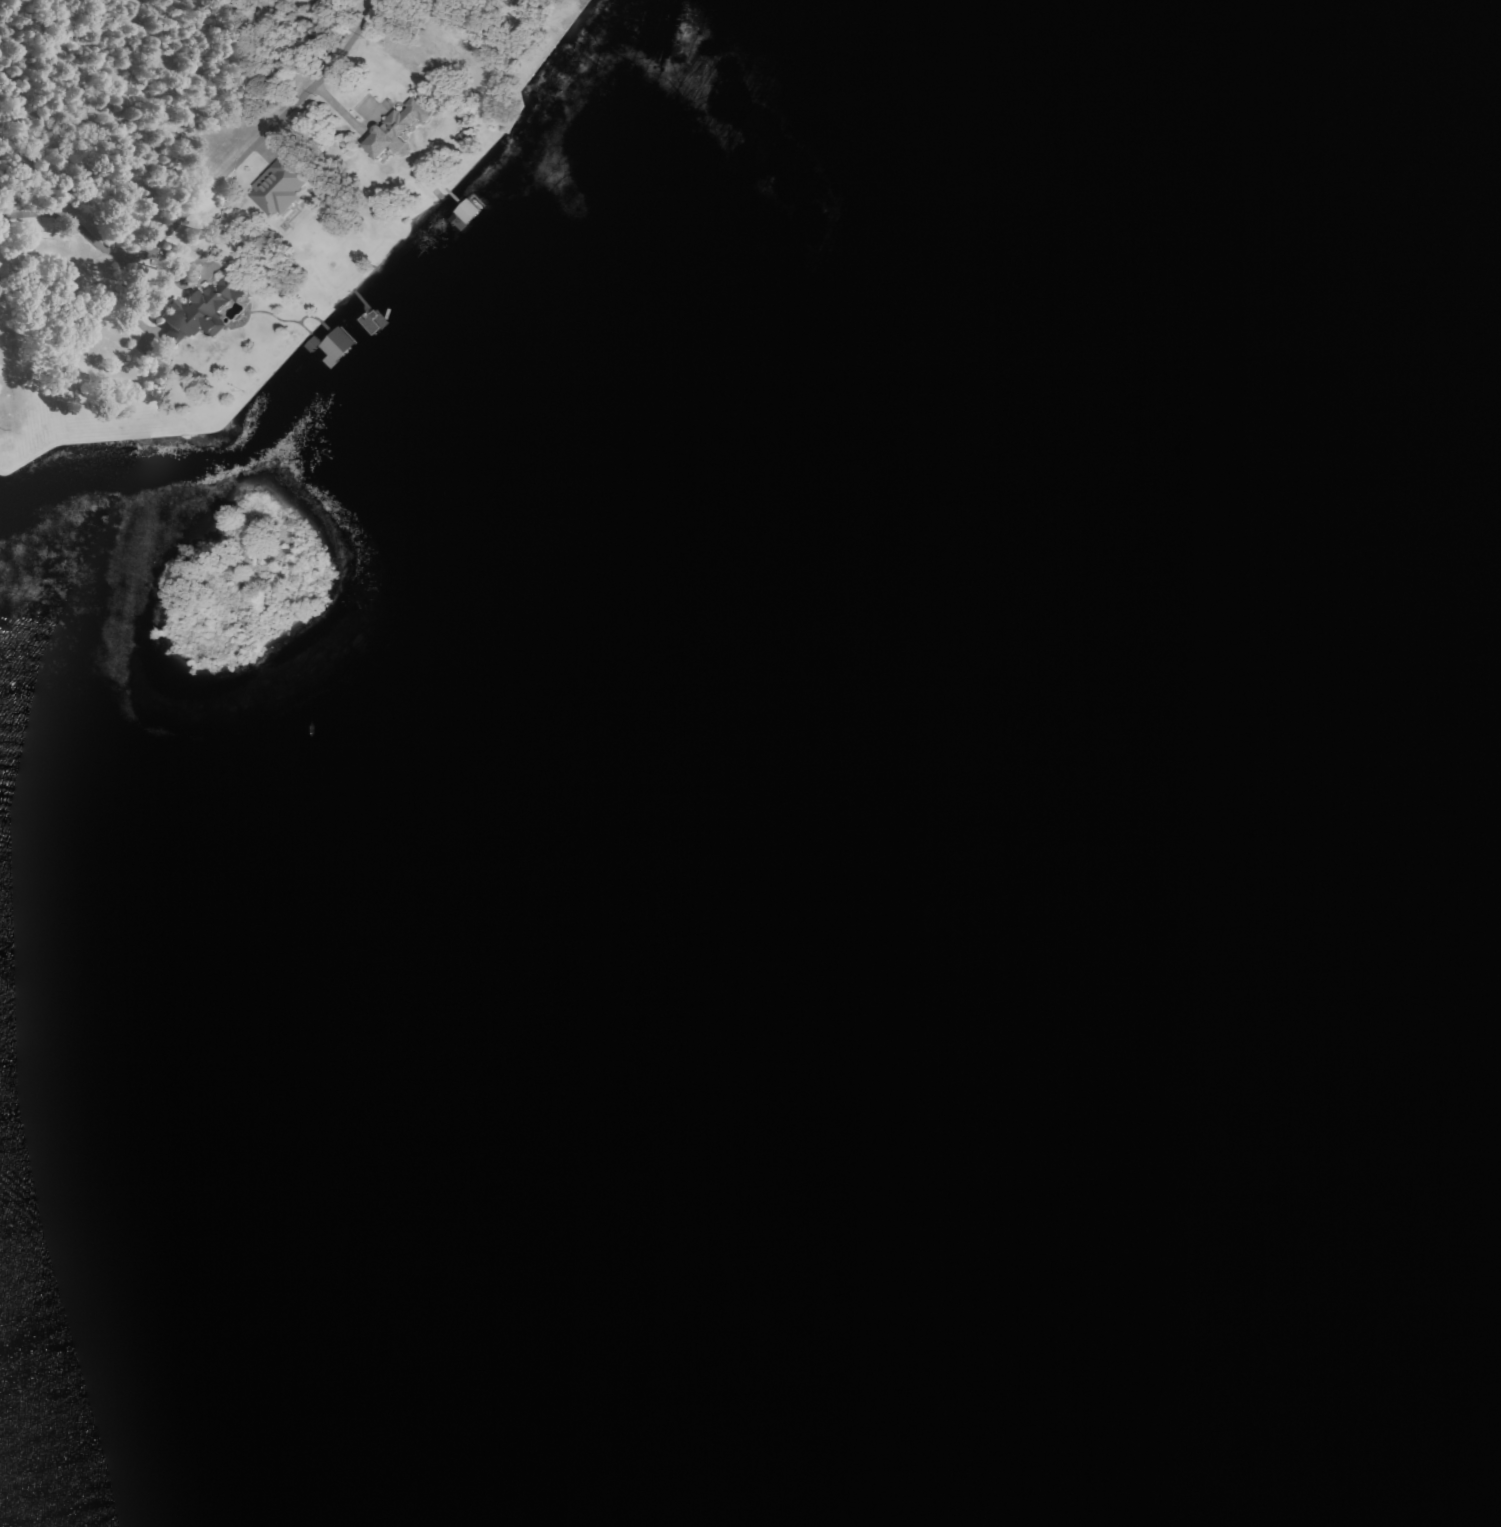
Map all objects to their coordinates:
building: (399, 128)
building: (282, 185)
road: (210, 189)
building: (465, 214)
building: (205, 310)

